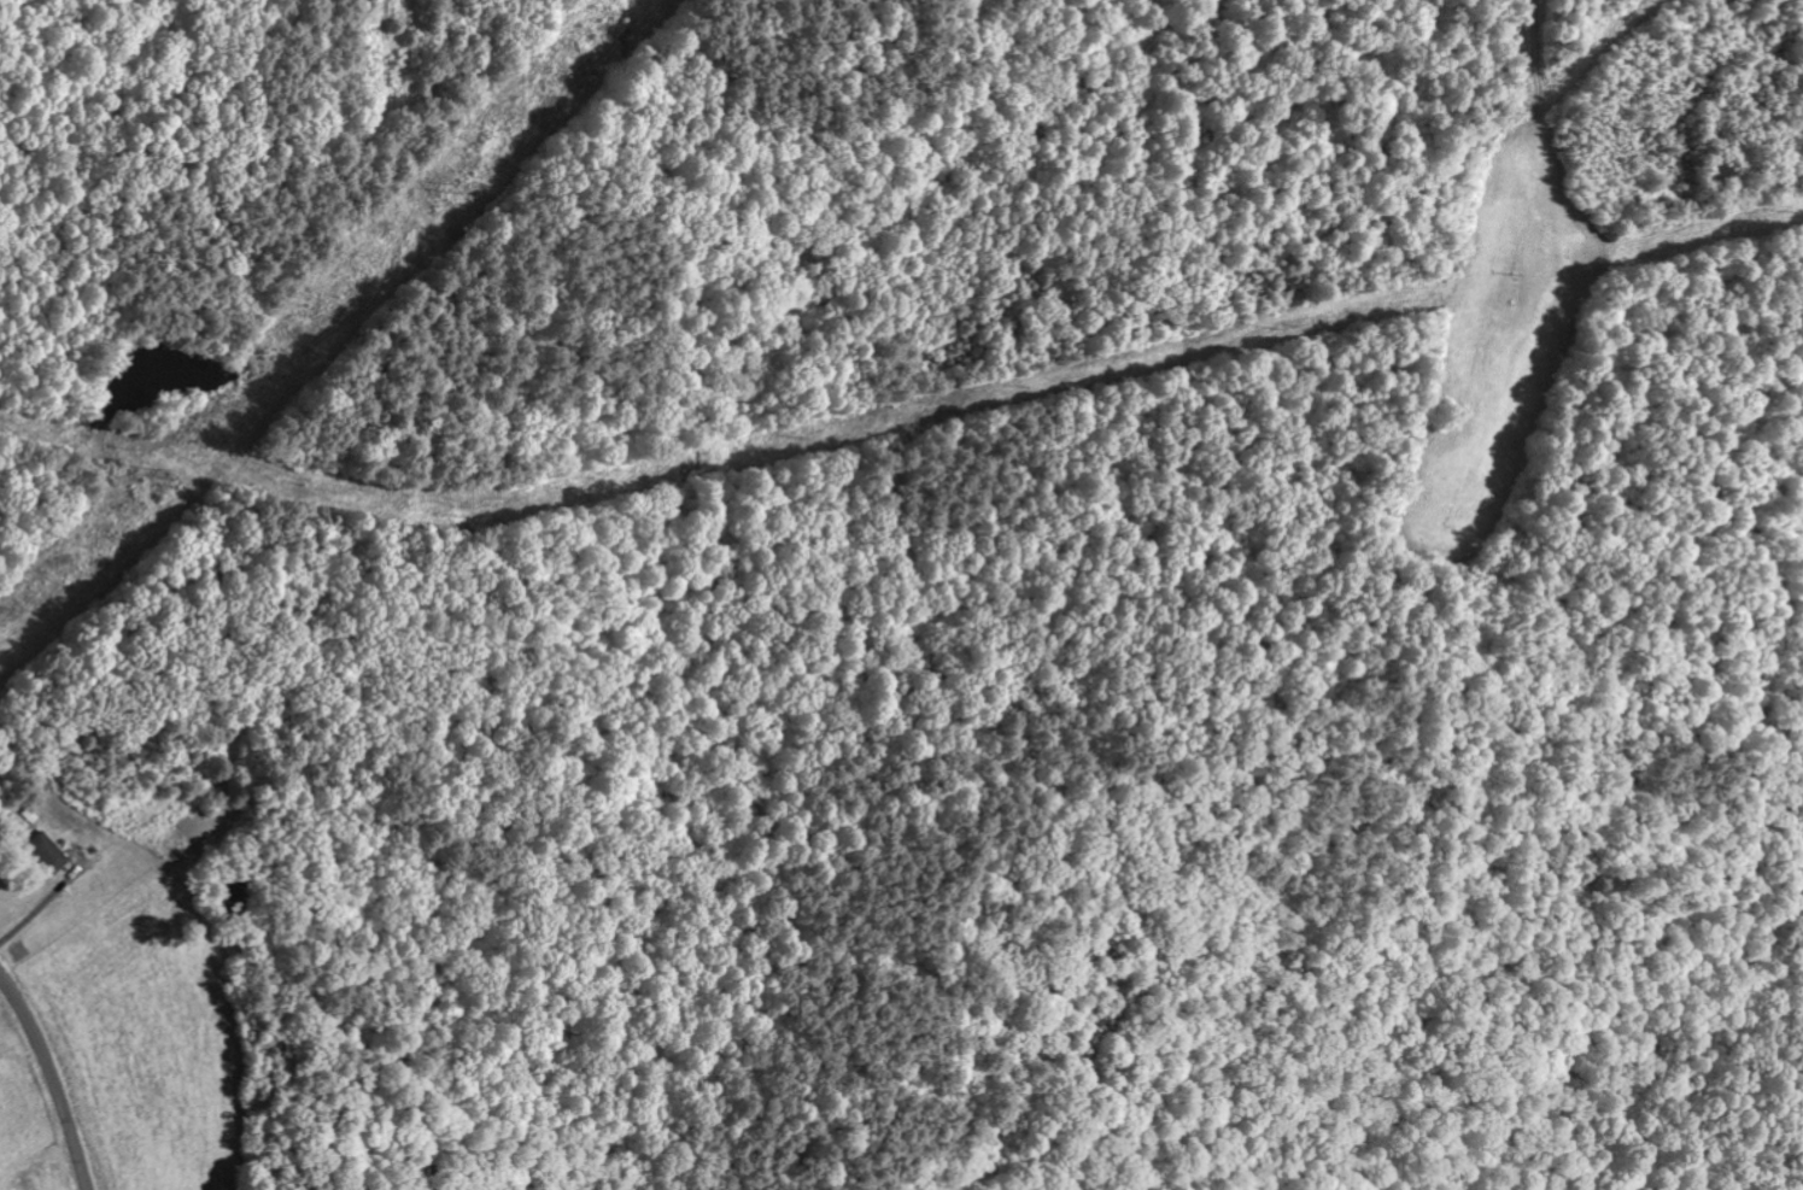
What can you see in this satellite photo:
building: (45, 854)
road: (53, 1080)

